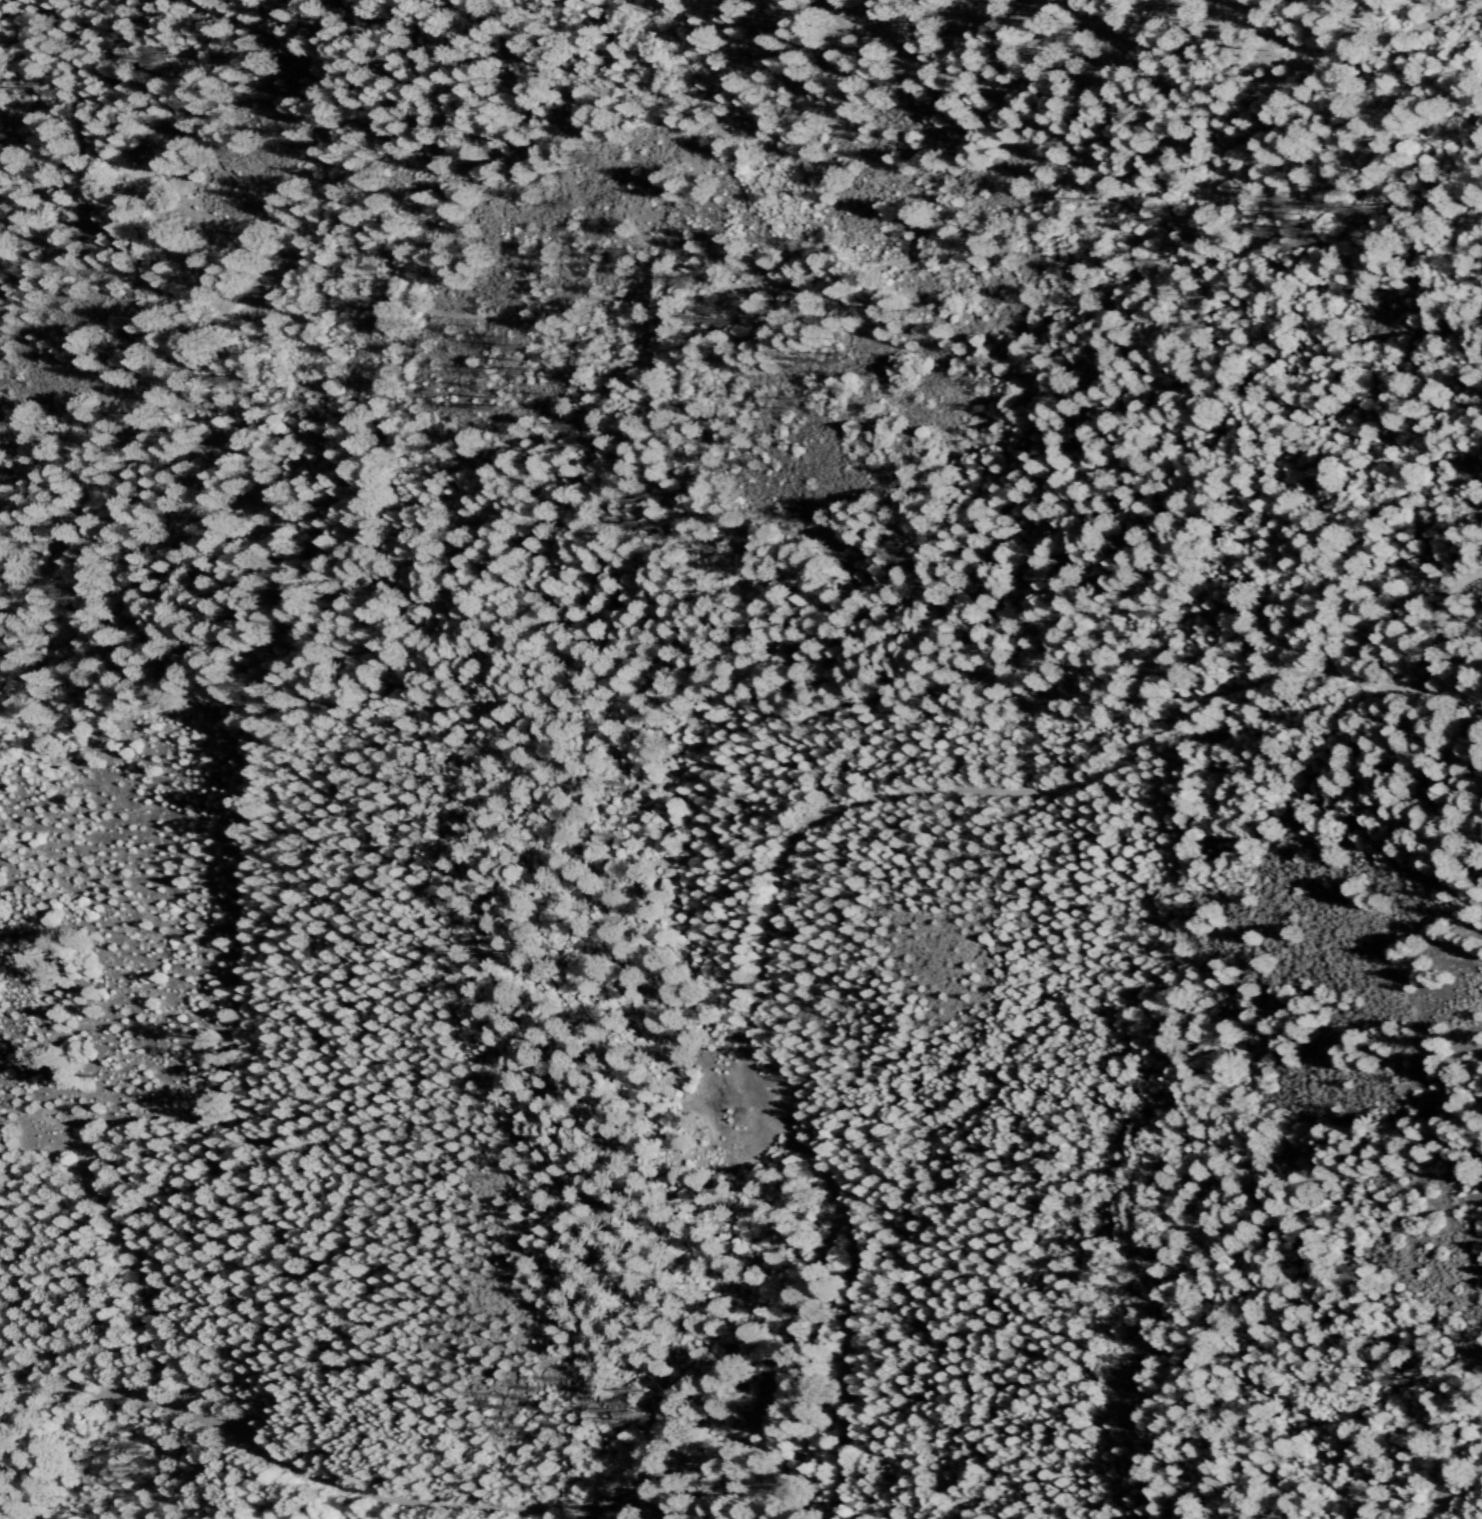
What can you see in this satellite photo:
park: (639, 330)
road: (990, 783)
road: (768, 1395)
road: (848, 1413)
road: (283, 1463)

